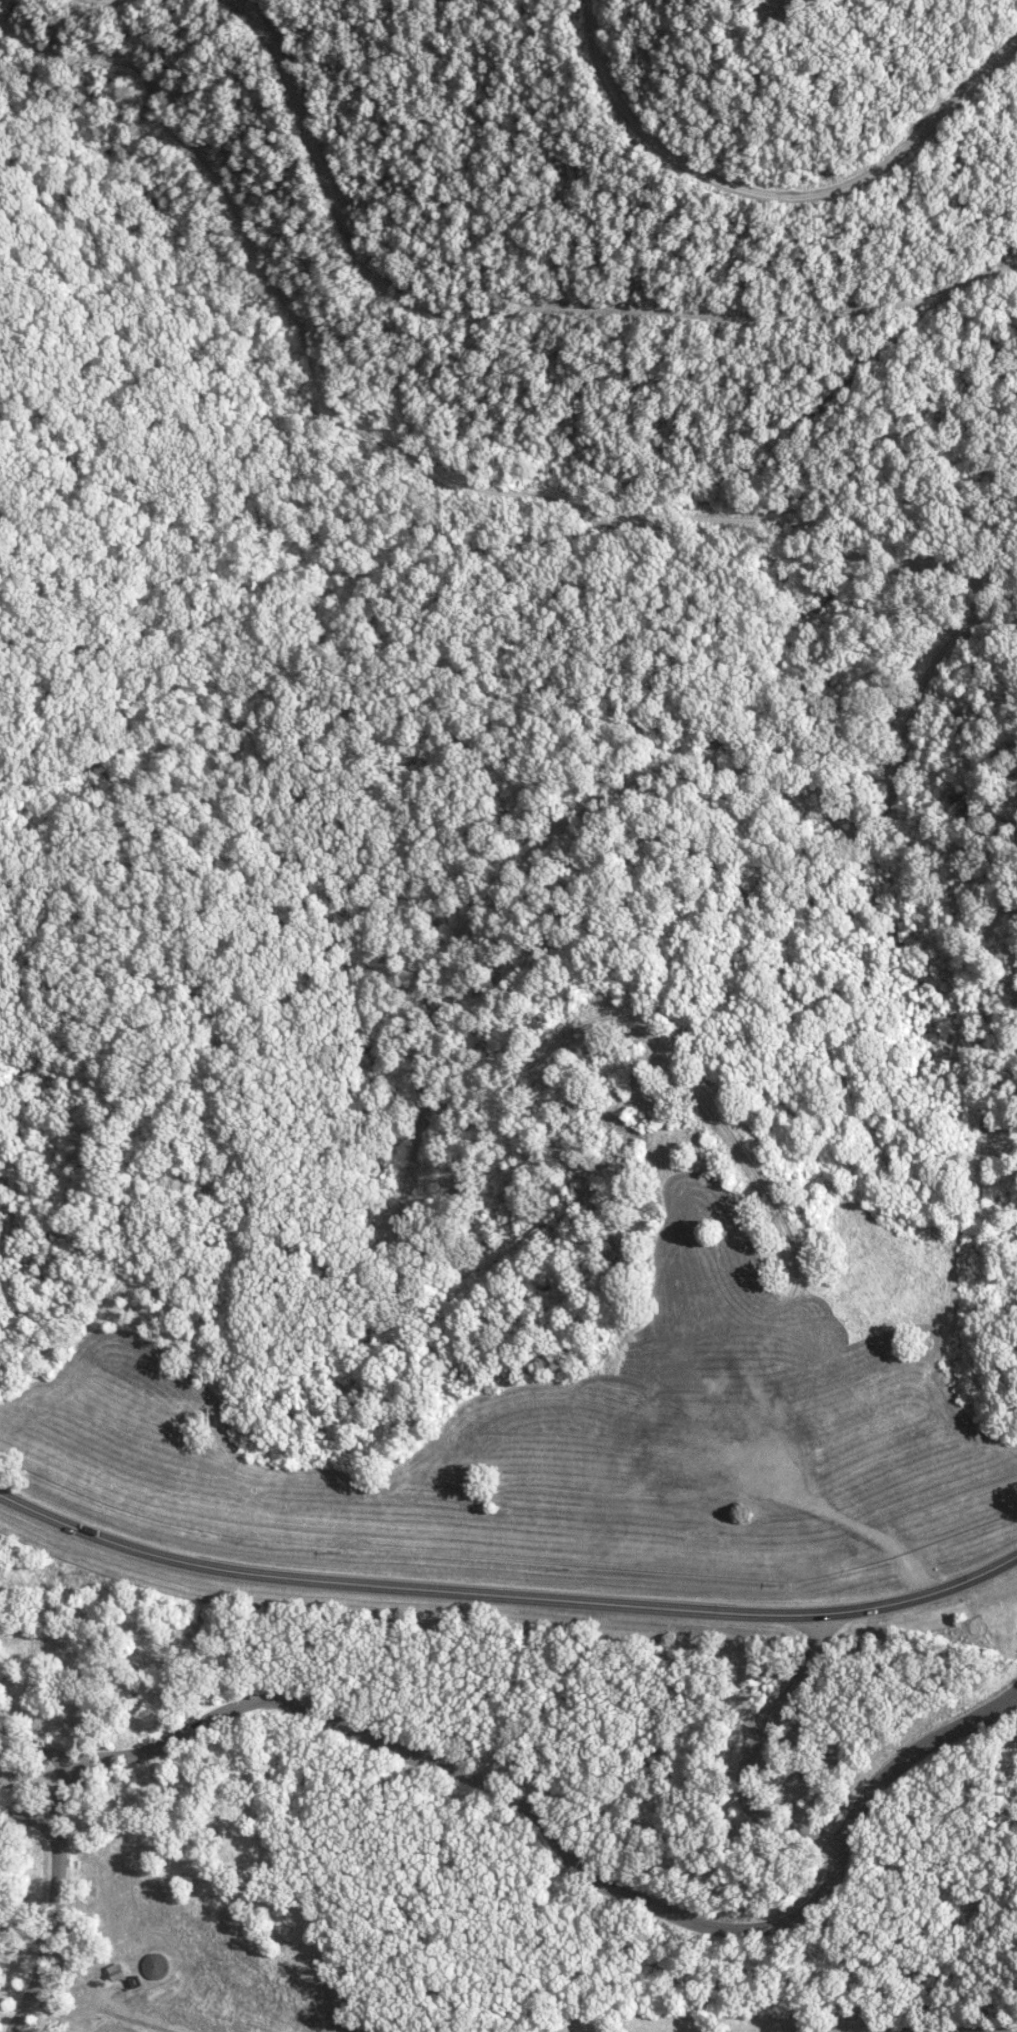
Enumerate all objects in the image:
road: (777, 195)
road: (535, 314)
road: (505, 1595)
road: (750, 1756)
road: (551, 1837)
road: (57, 1899)
building: (154, 1965)
building: (118, 1971)

